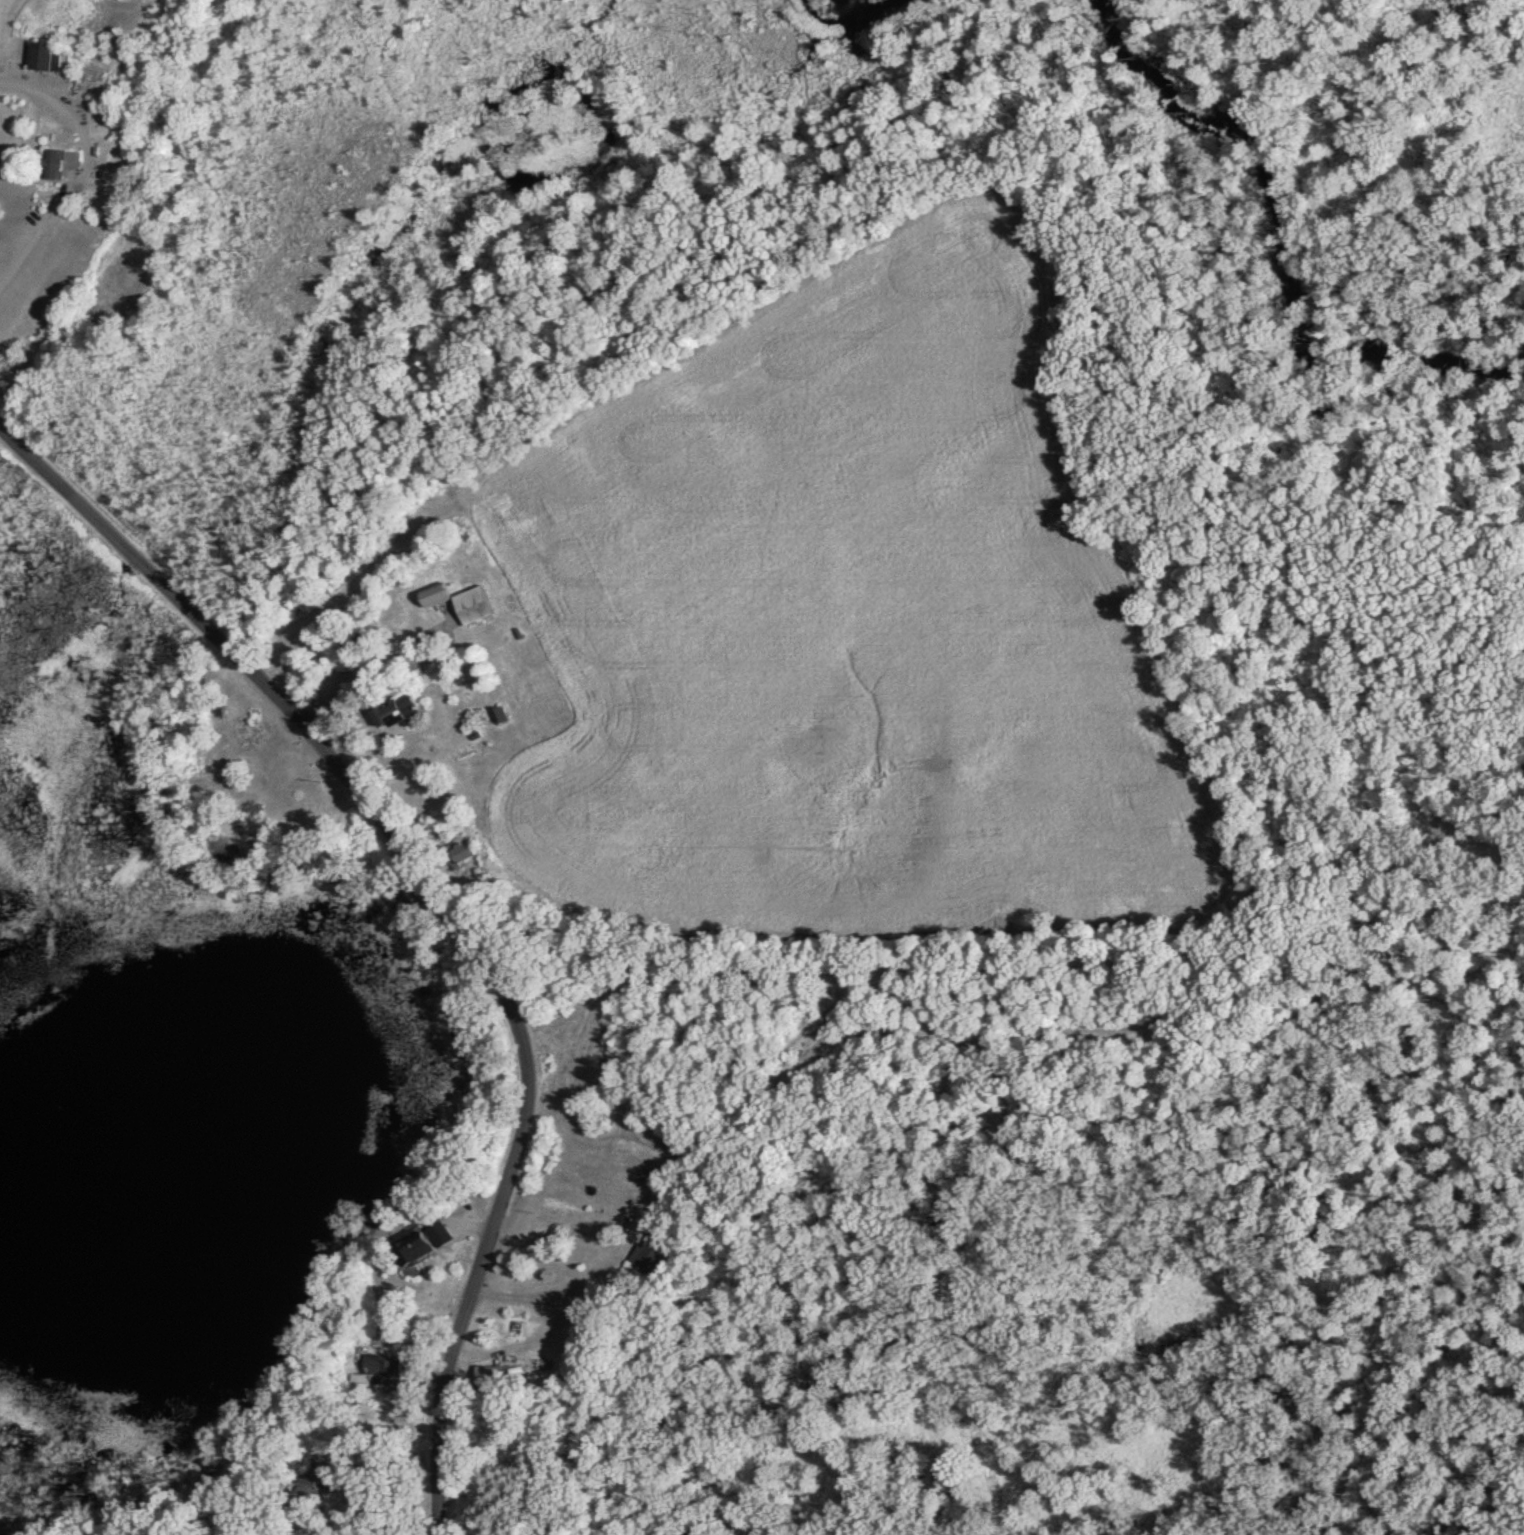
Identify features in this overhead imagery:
building: (43, 59)
building: (57, 166)
building: (433, 599)
building: (471, 609)
building: (392, 715)
building: (461, 854)
building: (397, 907)
road: (448, 910)
building: (422, 1246)
building: (653, 1253)
building: (490, 1375)
building: (308, 1487)

